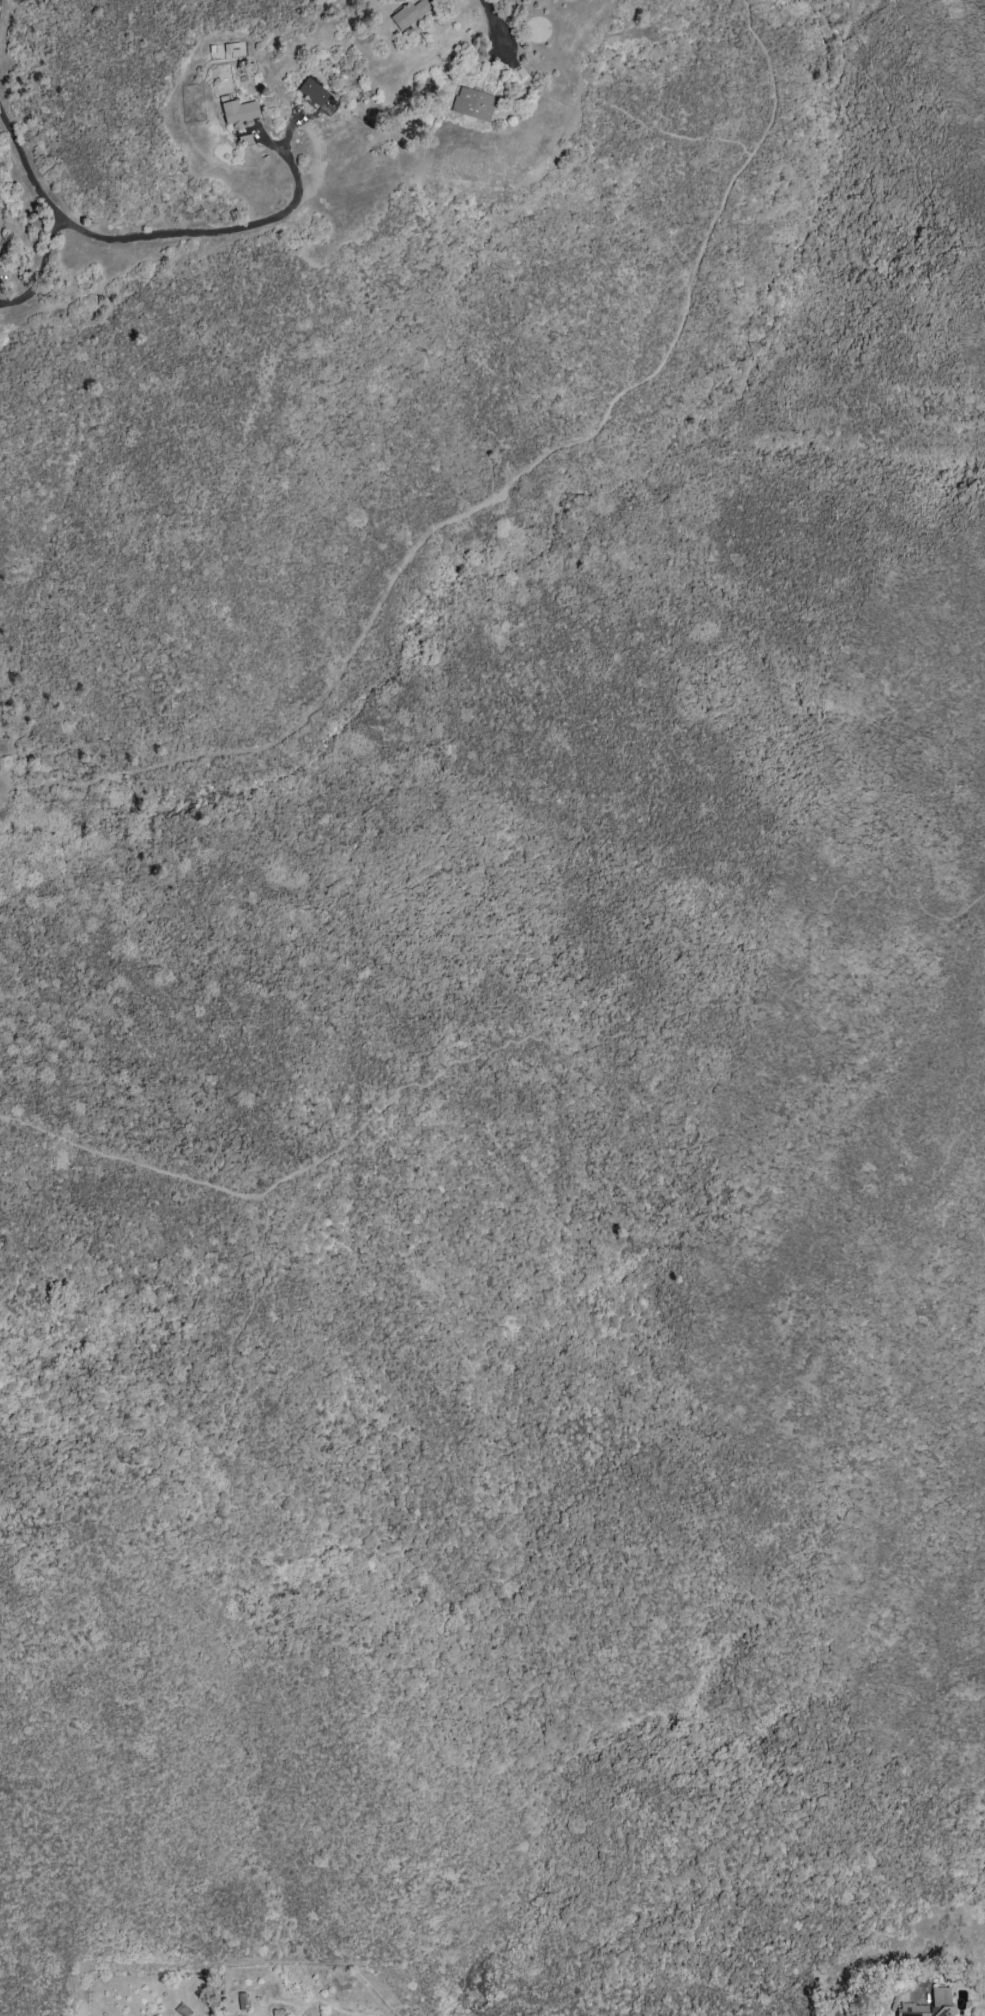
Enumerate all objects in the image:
building: (409, 13)
road: (497, 17)
road: (770, 76)
building: (316, 96)
building: (471, 104)
building: (238, 111)
building: (244, 140)
road: (900, 141)
road: (161, 232)
road: (39, 268)
road: (536, 461)
road: (526, 1038)
road: (209, 1433)
road: (883, 1978)
building: (241, 2001)
building: (928, 2005)

